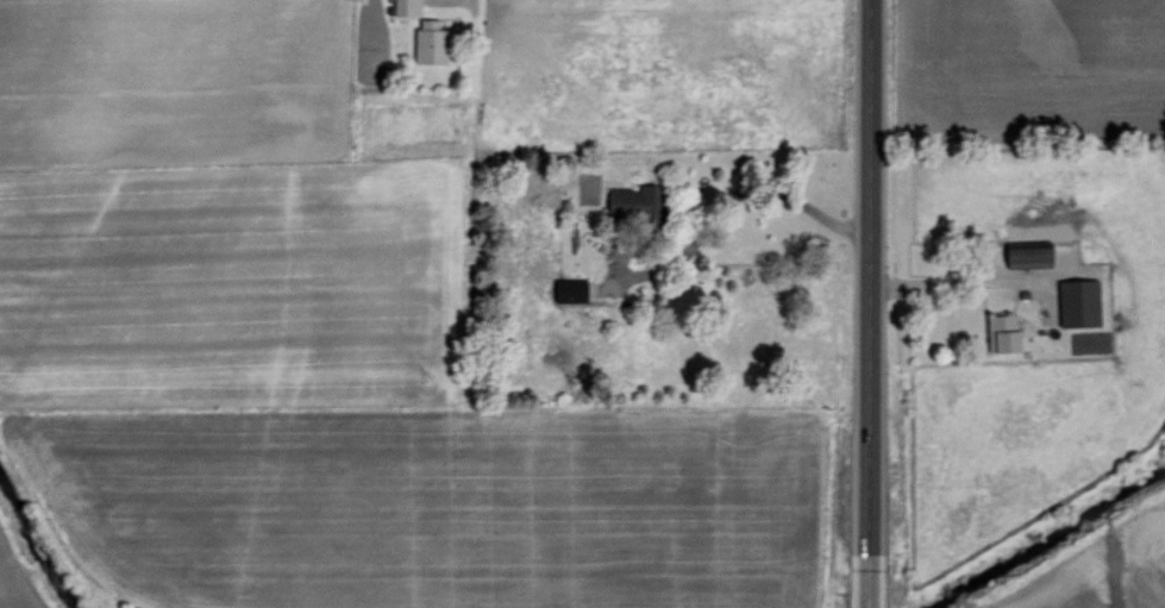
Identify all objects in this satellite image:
building: (405, 7)
building: (425, 44)
road: (781, 195)
building: (645, 201)
building: (1025, 256)
road: (959, 280)
building: (568, 289)
building: (1077, 302)
road: (868, 303)
building: (1000, 332)

